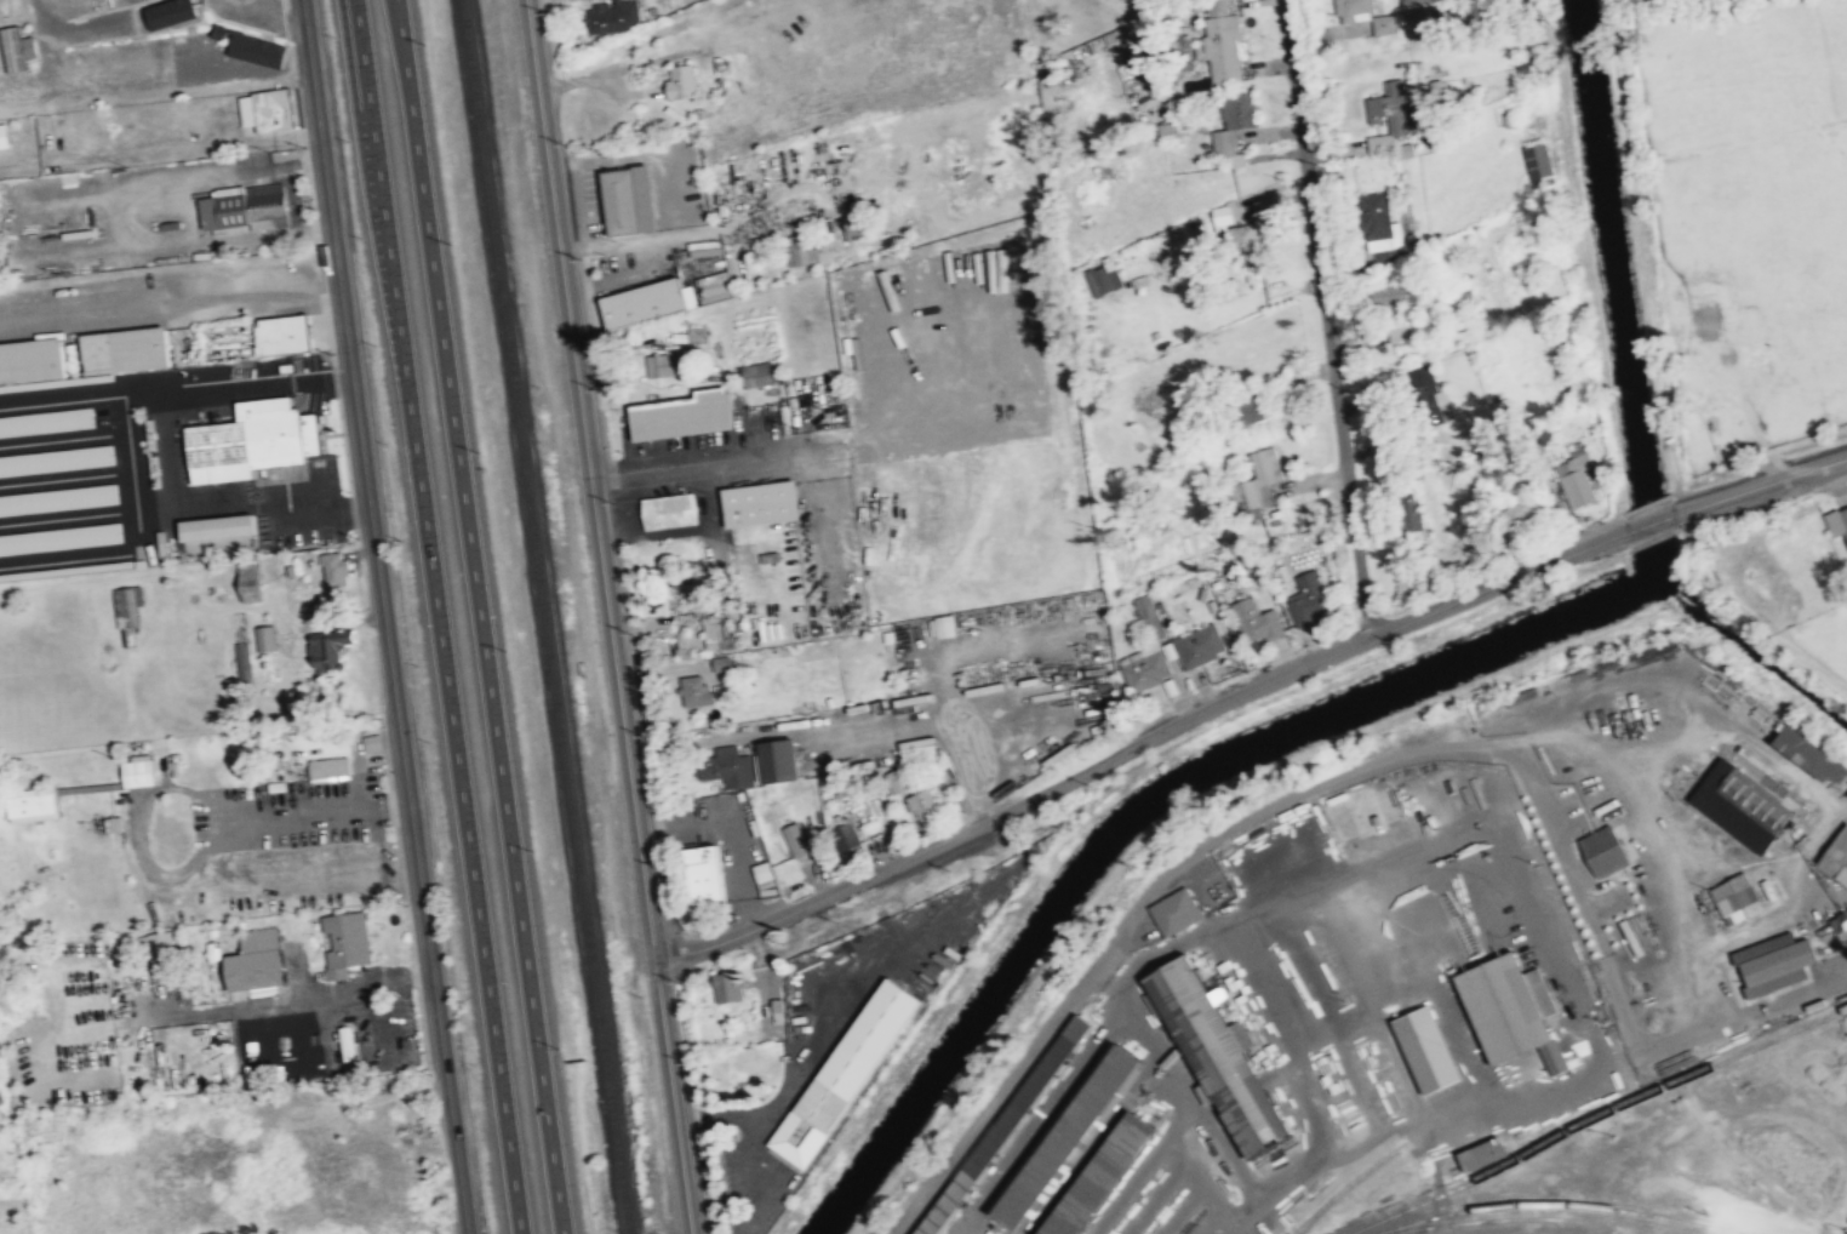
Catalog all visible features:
building: (1416, 8)
building: (1353, 10)
building: (171, 12)
building: (608, 16)
building: (1382, 23)
building: (1222, 41)
building: (18, 47)
building: (258, 48)
building: (676, 80)
building: (1390, 109)
building: (1234, 124)
building: (1165, 130)
building: (5, 136)
building: (1377, 142)
building: (1538, 165)
building: (622, 200)
building: (246, 207)
building: (1225, 212)
building: (1378, 223)
building: (1245, 236)
building: (1096, 280)
building: (709, 290)
building: (1391, 292)
building: (640, 303)
road: (1333, 318)
building: (1413, 329)
building: (285, 333)
building: (127, 349)
building: (33, 361)
building: (659, 364)
building: (753, 373)
building: (1428, 406)
building: (1439, 412)
building: (677, 415)
building: (46, 421)
building: (253, 440)
building: (56, 459)
building: (1258, 478)
building: (1574, 481)
road: (1760, 485)
building: (58, 499)
building: (754, 502)
building: (665, 510)
building: (1409, 513)
building: (1845, 514)
road: (1649, 522)
building: (218, 526)
building: (1846, 531)
building: (59, 538)
building: (336, 570)
building: (250, 573)
building: (681, 584)
building: (1309, 600)
road: (439, 616)
road: (480, 616)
road: (610, 616)
road: (385, 617)
railway: (545, 617)
building: (1256, 623)
building: (940, 625)
building: (1150, 625)
building: (714, 632)
building: (267, 638)
crop: (1818, 645)
building: (1200, 646)
building: (331, 649)
building: (244, 661)
building: (717, 663)
building: (1145, 669)
building: (701, 698)
building: (372, 742)
road: (1139, 743)
building: (913, 748)
building: (771, 759)
building: (1812, 759)
building: (722, 766)
building: (330, 767)
building: (139, 771)
building: (893, 779)
building: (1740, 800)
building: (33, 802)
building: (920, 802)
building: (842, 834)
building: (791, 839)
building: (1605, 850)
building: (1836, 857)
building: (696, 873)
building: (1733, 897)
building: (1174, 909)
building: (1840, 921)
building: (347, 942)
building: (164, 949)
building: (258, 960)
building: (1773, 964)
road: (857, 983)
building: (724, 987)
building: (774, 1010)
building: (1510, 1011)
building: (1426, 1050)
building: (1218, 1053)
building: (837, 1072)
railway: (1594, 1115)
road: (753, 1120)
building: (1006, 1126)
building: (1064, 1135)
building: (1482, 1153)
building: (1098, 1176)
railway: (1340, 1189)
railway: (1561, 1202)
railway: (1515, 1217)

